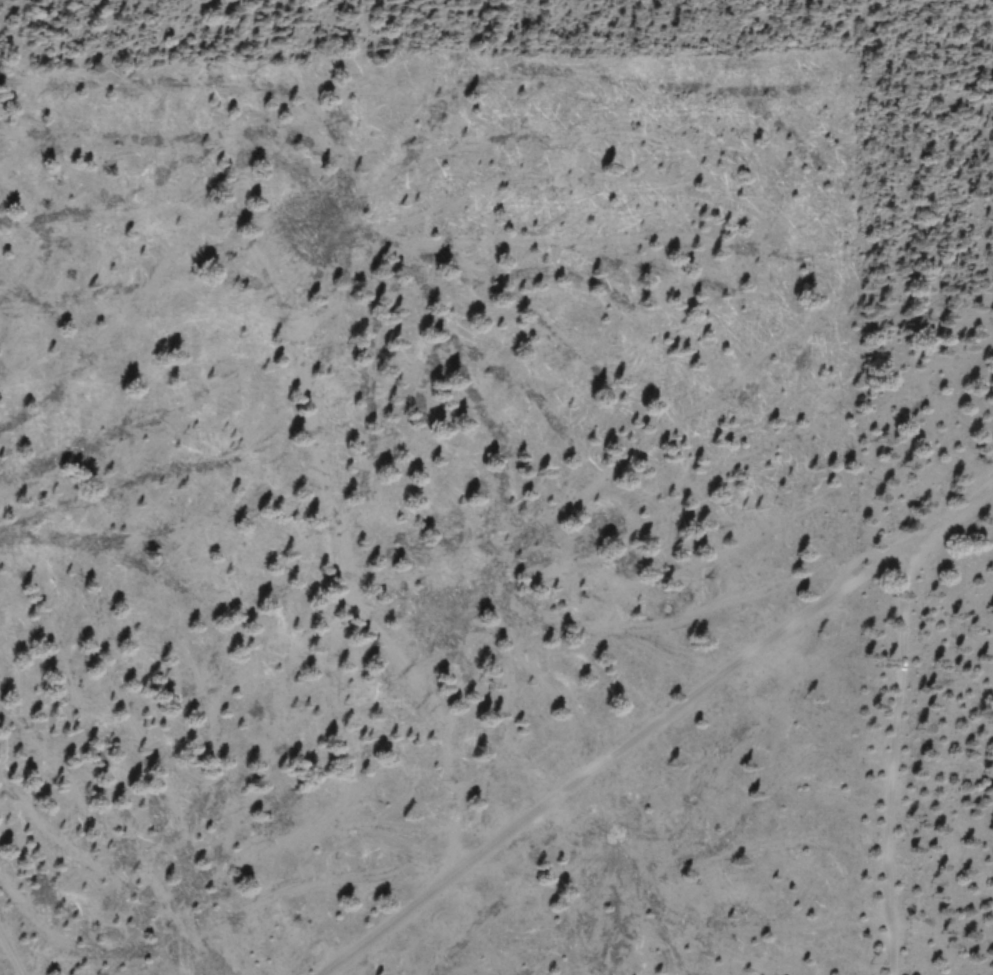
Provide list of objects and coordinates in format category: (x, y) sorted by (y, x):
road: (653, 725)
road: (898, 751)
road: (6, 963)

